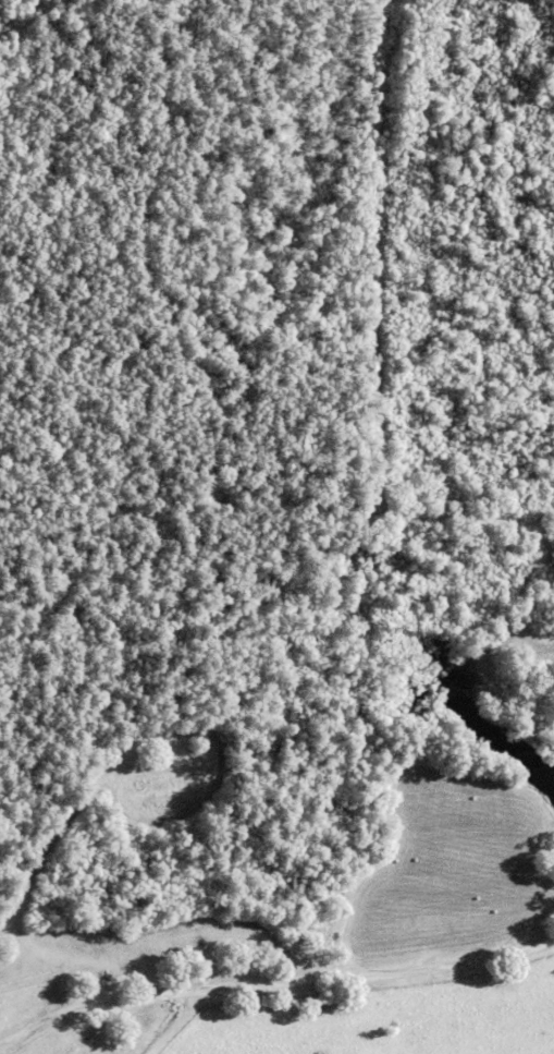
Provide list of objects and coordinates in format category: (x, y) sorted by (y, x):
road: (273, 983)

